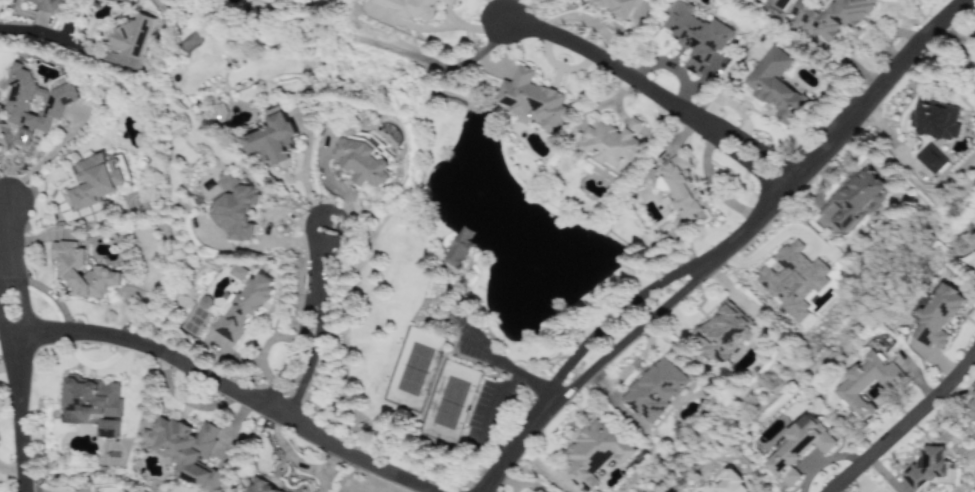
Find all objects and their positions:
building: (777, 4)
building: (46, 6)
building: (619, 6)
building: (414, 8)
building: (832, 17)
building: (695, 36)
road: (51, 37)
building: (132, 37)
road: (829, 51)
building: (774, 85)
road: (647, 91)
building: (531, 99)
building: (34, 104)
building: (933, 120)
road: (839, 128)
building: (274, 139)
building: (611, 145)
building: (929, 159)
building: (363, 160)
building: (93, 182)
building: (682, 188)
building: (852, 200)
building: (236, 208)
building: (974, 238)
building: (458, 247)
road: (5, 265)
building: (80, 271)
building: (238, 272)
building: (793, 280)
building: (242, 309)
road: (620, 313)
building: (939, 317)
road: (311, 324)
road: (634, 330)
building: (720, 332)
road: (502, 367)
building: (867, 383)
road: (224, 389)
building: (655, 390)
building: (92, 398)
building: (971, 406)
road: (494, 408)
road: (15, 414)
road: (906, 421)
building: (108, 429)
road: (515, 442)
building: (187, 451)
building: (591, 455)
building: (927, 468)
building: (729, 484)
building: (263, 487)
building: (123, 491)

